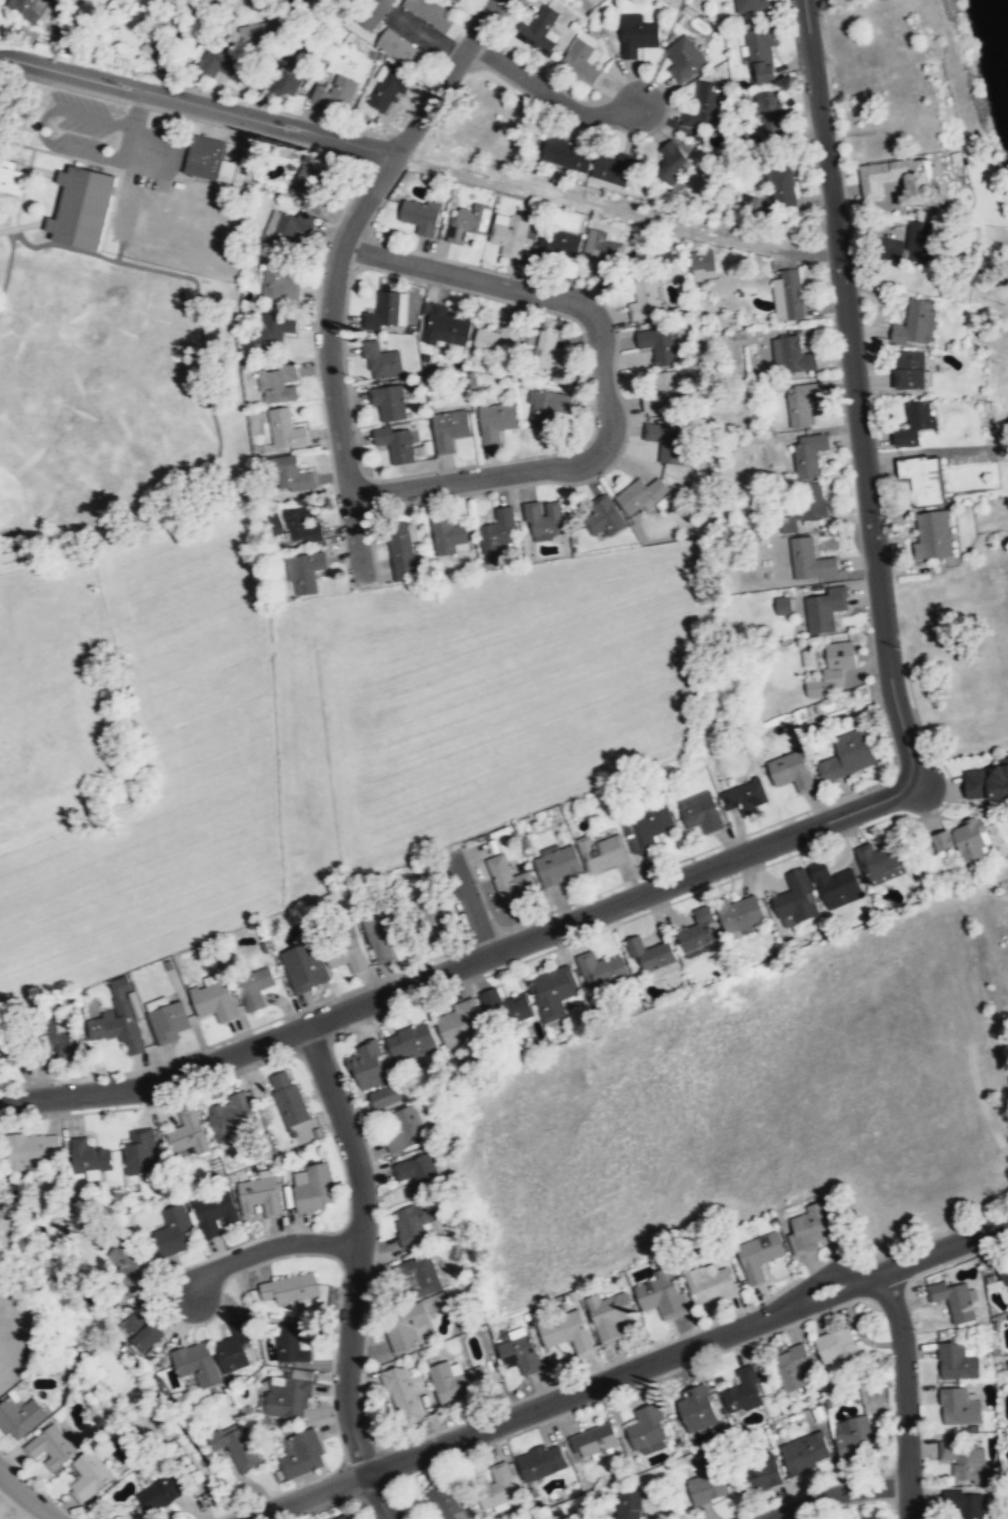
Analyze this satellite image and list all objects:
building: (290, 0)
building: (456, 1)
road: (260, 5)
building: (749, 6)
building: (28, 8)
building: (431, 12)
building: (370, 14)
building: (171, 20)
building: (539, 30)
building: (257, 33)
building: (636, 35)
building: (155, 47)
building: (399, 48)
building: (761, 53)
building: (684, 59)
building: (222, 62)
building: (580, 62)
road: (192, 82)
building: (284, 82)
building: (386, 89)
road: (552, 94)
building: (334, 95)
road: (198, 97)
building: (704, 107)
road: (194, 110)
building: (769, 111)
building: (478, 120)
building: (566, 154)
building: (205, 158)
building: (672, 162)
building: (612, 167)
building: (9, 177)
building: (901, 179)
building: (308, 184)
building: (782, 187)
building: (752, 203)
building: (82, 207)
building: (421, 215)
building: (468, 222)
building: (283, 228)
building: (509, 237)
building: (919, 241)
building: (559, 242)
building: (890, 247)
building: (601, 249)
building: (704, 261)
road: (333, 269)
building: (279, 283)
building: (788, 294)
building: (645, 300)
building: (387, 310)
building: (916, 321)
building: (447, 326)
building: (274, 328)
building: (497, 339)
building: (657, 344)
building: (549, 353)
building: (793, 355)
building: (381, 361)
building: (910, 369)
road: (604, 379)
building: (279, 383)
road: (854, 389)
building: (661, 392)
building: (389, 401)
building: (802, 403)
building: (545, 407)
building: (495, 421)
building: (914, 424)
building: (449, 429)
building: (285, 430)
building: (667, 441)
building: (395, 443)
building: (808, 455)
building: (291, 475)
building: (923, 480)
building: (641, 497)
building: (812, 500)
building: (603, 517)
building: (543, 520)
building: (302, 525)
building: (788, 525)
building: (497, 531)
building: (447, 535)
building: (932, 535)
building: (401, 551)
building: (809, 560)
building: (306, 572)
building: (782, 606)
building: (824, 610)
building: (832, 669)
crop: (298, 726)
building: (848, 755)
building: (791, 771)
building: (986, 782)
building: (744, 796)
building: (700, 812)
building: (646, 830)
building: (964, 840)
building: (601, 852)
building: (880, 862)
building: (558, 865)
building: (509, 878)
building: (835, 885)
building: (796, 899)
road: (469, 903)
building: (740, 913)
building: (431, 916)
building: (697, 932)
building: (377, 937)
building: (344, 952)
building: (649, 954)
road: (462, 963)
building: (304, 967)
building: (601, 970)
building: (255, 986)
building: (552, 992)
building: (212, 1001)
building: (137, 1005)
building: (504, 1007)
building: (167, 1019)
building: (457, 1023)
building: (118, 1026)
building: (55, 1035)
building: (409, 1041)
building: (68, 1048)
building: (0, 1064)
building: (367, 1066)
building: (384, 1097)
building: (288, 1099)
building: (230, 1116)
building: (404, 1129)
building: (188, 1132)
building: (30, 1148)
building: (140, 1152)
building: (89, 1157)
building: (417, 1174)
building: (311, 1187)
building: (259, 1196)
building: (213, 1210)
building: (414, 1222)
building: (810, 1228)
building: (173, 1231)
road: (368, 1245)
road: (279, 1250)
building: (758, 1256)
building: (128, 1266)
building: (1003, 1271)
building: (419, 1273)
building: (709, 1283)
building: (289, 1287)
building: (661, 1294)
building: (953, 1301)
building: (609, 1315)
building: (406, 1328)
building: (140, 1330)
building: (566, 1332)
building: (291, 1341)
building: (233, 1347)
road: (686, 1347)
building: (836, 1349)
building: (519, 1352)
building: (956, 1362)
building: (196, 1363)
building: (791, 1367)
building: (456, 1381)
building: (743, 1391)
road: (911, 1391)
building: (402, 1394)
building: (287, 1396)
building: (1004, 1404)
building: (696, 1407)
building: (959, 1408)
building: (19, 1418)
building: (647, 1430)
building: (852, 1436)
building: (593, 1441)
building: (236, 1446)
building: (50, 1447)
building: (302, 1453)
building: (805, 1453)
building: (964, 1460)
building: (541, 1462)
building: (759, 1473)
building: (88, 1476)
building: (707, 1482)
building: (496, 1487)
building: (161, 1492)
road: (26, 1496)
road: (318, 1497)
road: (376, 1497)
road: (851, 1499)
building: (444, 1502)
building: (627, 1503)
building: (964, 1504)
building: (345, 1517)
building: (847, 1518)
building: (849, 1518)

